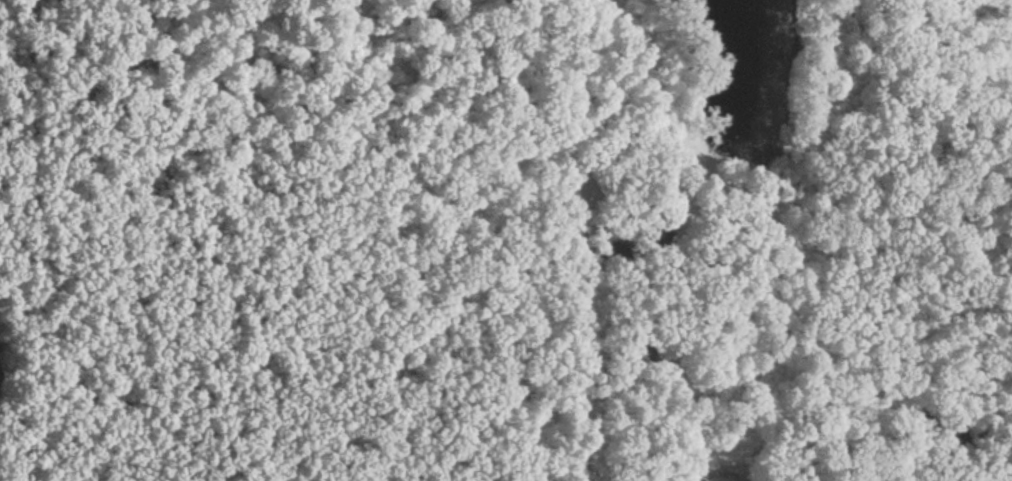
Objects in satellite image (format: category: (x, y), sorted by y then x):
road: (582, 375)

